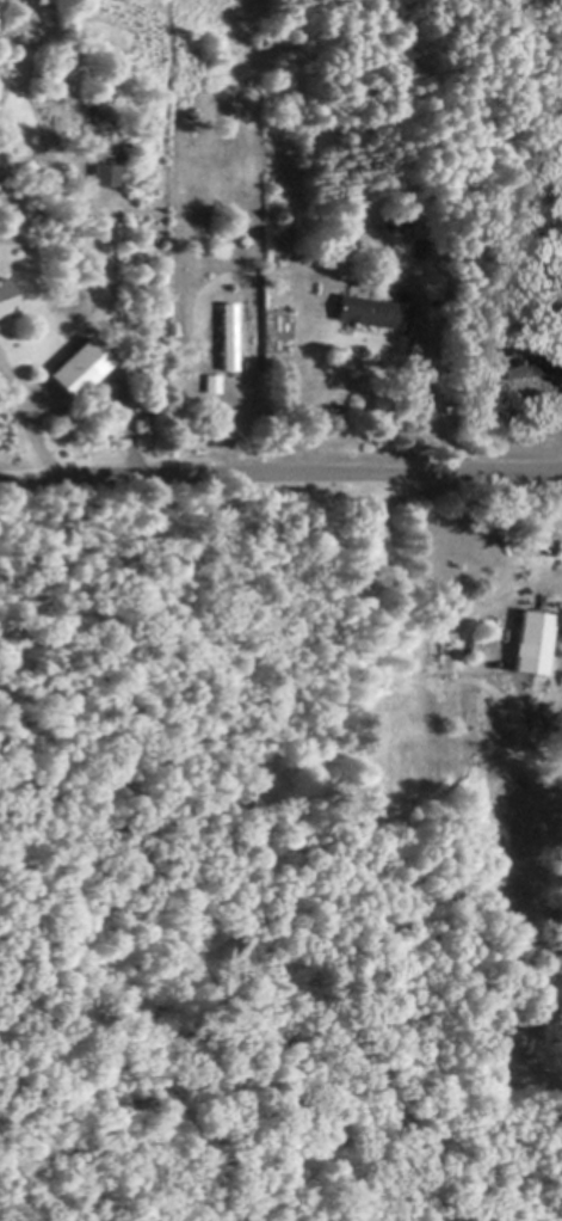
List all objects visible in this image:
building: (50, 42)
building: (105, 173)
building: (282, 277)
building: (6, 297)
building: (372, 308)
building: (434, 332)
building: (224, 338)
building: (97, 342)
building: (537, 367)
building: (72, 374)
building: (212, 382)
building: (450, 406)
road: (31, 421)
road: (280, 475)
building: (552, 545)
building: (531, 640)
building: (561, 648)

